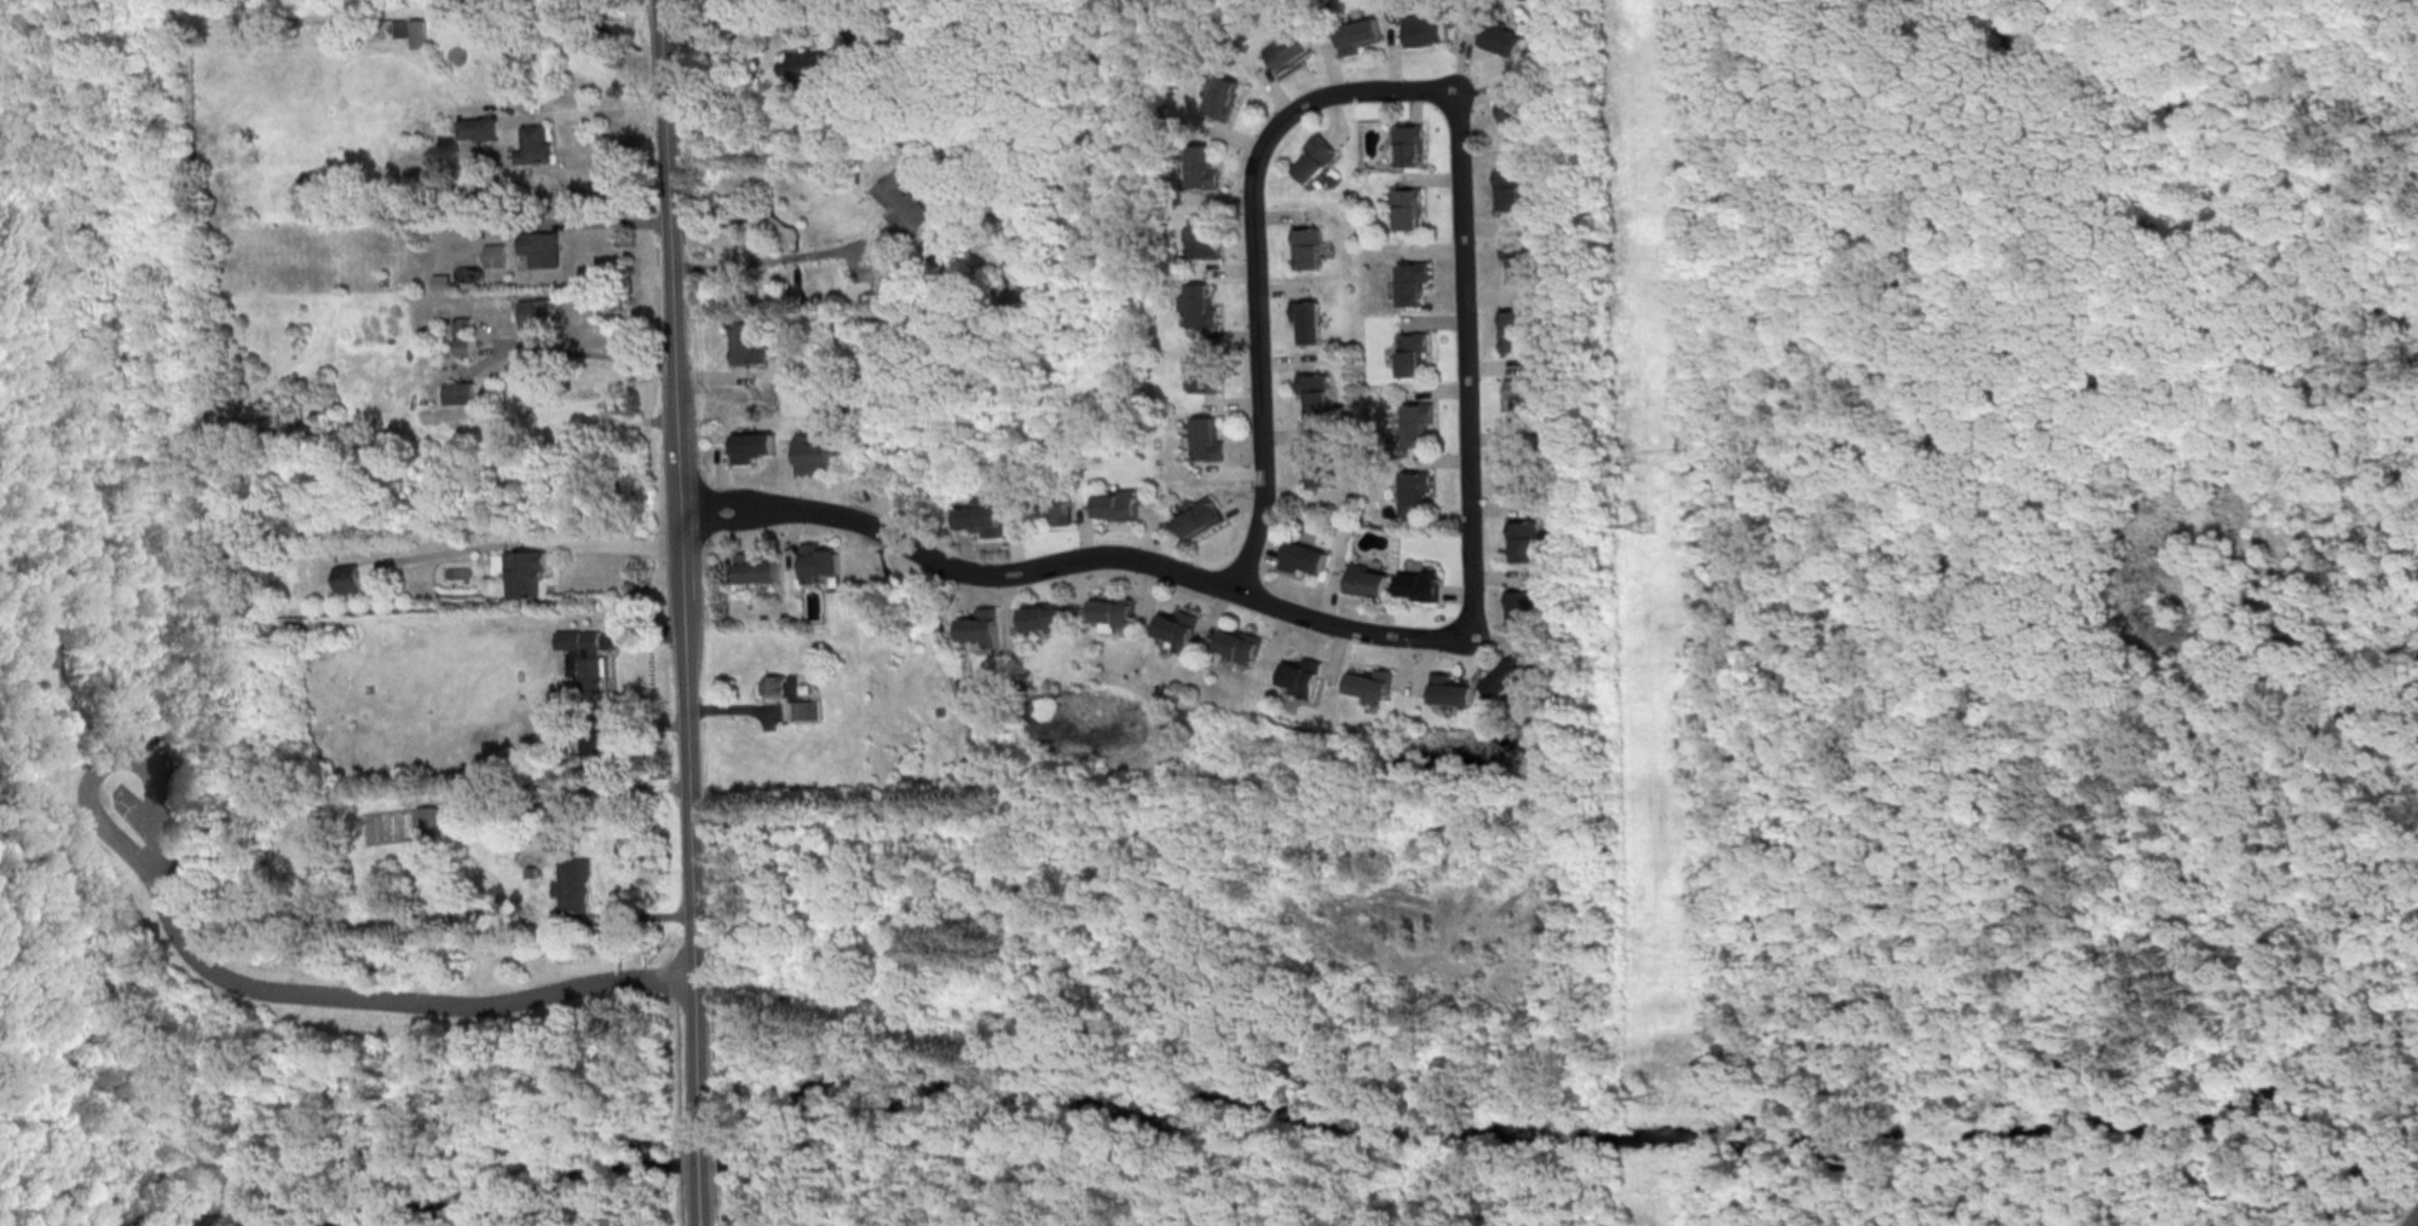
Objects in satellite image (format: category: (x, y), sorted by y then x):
road: (0, 0)
road: (150, 16)
road: (311, 16)
road: (764, 17)
building: (1424, 30)
building: (412, 31)
building: (1354, 36)
building: (1499, 39)
building: (1285, 52)
building: (812, 64)
building: (1219, 98)
road: (581, 115)
building: (1514, 118)
building: (479, 129)
building: (536, 145)
building: (1407, 145)
building: (1312, 157)
building: (1200, 168)
building: (1513, 187)
building: (904, 202)
building: (1404, 208)
building: (999, 209)
road: (578, 225)
road: (149, 226)
building: (478, 230)
building: (1205, 239)
road: (963, 247)
building: (543, 249)
building: (1305, 249)
building: (496, 255)
road: (820, 255)
building: (1514, 258)
road: (1250, 264)
building: (1029, 278)
building: (1409, 282)
building: (1199, 306)
building: (538, 314)
building: (1305, 320)
road: (2326, 330)
building: (1510, 331)
building: (464, 337)
building: (749, 342)
building: (1407, 352)
road: (576, 353)
road: (1461, 370)
building: (1200, 371)
road: (719, 377)
building: (1310, 392)
building: (461, 393)
building: (1519, 398)
road: (1712, 400)
road: (2134, 422)
building: (1413, 423)
building: (1204, 439)
building: (752, 446)
building: (815, 455)
building: (1310, 464)
building: (1517, 469)
road: (1756, 472)
building: (1412, 491)
road: (738, 497)
building: (1114, 505)
building: (1049, 507)
building: (1195, 517)
building: (982, 519)
road: (738, 522)
power tower: (1644, 525)
building: (1522, 538)
road: (518, 545)
road: (1120, 557)
building: (1297, 557)
building: (820, 562)
road: (683, 565)
building: (758, 568)
building: (525, 573)
road: (45, 574)
building: (347, 580)
building: (1363, 582)
building: (1416, 586)
building: (1519, 607)
building: (1110, 611)
building: (1044, 617)
building: (982, 626)
building: (1175, 629)
road: (644, 637)
building: (1235, 644)
building: (36, 658)
road: (117, 665)
building: (591, 675)
building: (1299, 676)
building: (1504, 679)
road: (63, 683)
building: (1368, 683)
road: (2050, 688)
building: (1449, 690)
building: (792, 696)
road: (740, 710)
road: (625, 725)
building: (555, 728)
park: (103, 740)
building: (596, 742)
road: (115, 754)
parking lot: (155, 803)
building: (572, 894)
road: (128, 912)
road: (640, 916)
road: (97, 936)
road: (1448, 954)
road: (47, 955)
road: (408, 1002)
road: (17, 1007)
road: (657, 1035)
road: (1978, 1045)
road: (5, 1075)
power tower: (1657, 1098)
road: (30, 1101)
road: (1448, 1130)
road: (1114, 1144)
road: (702, 1162)
road: (1448, 1196)
road: (703, 1210)
parking lot: (2413, 1220)
road: (2417, 1224)

